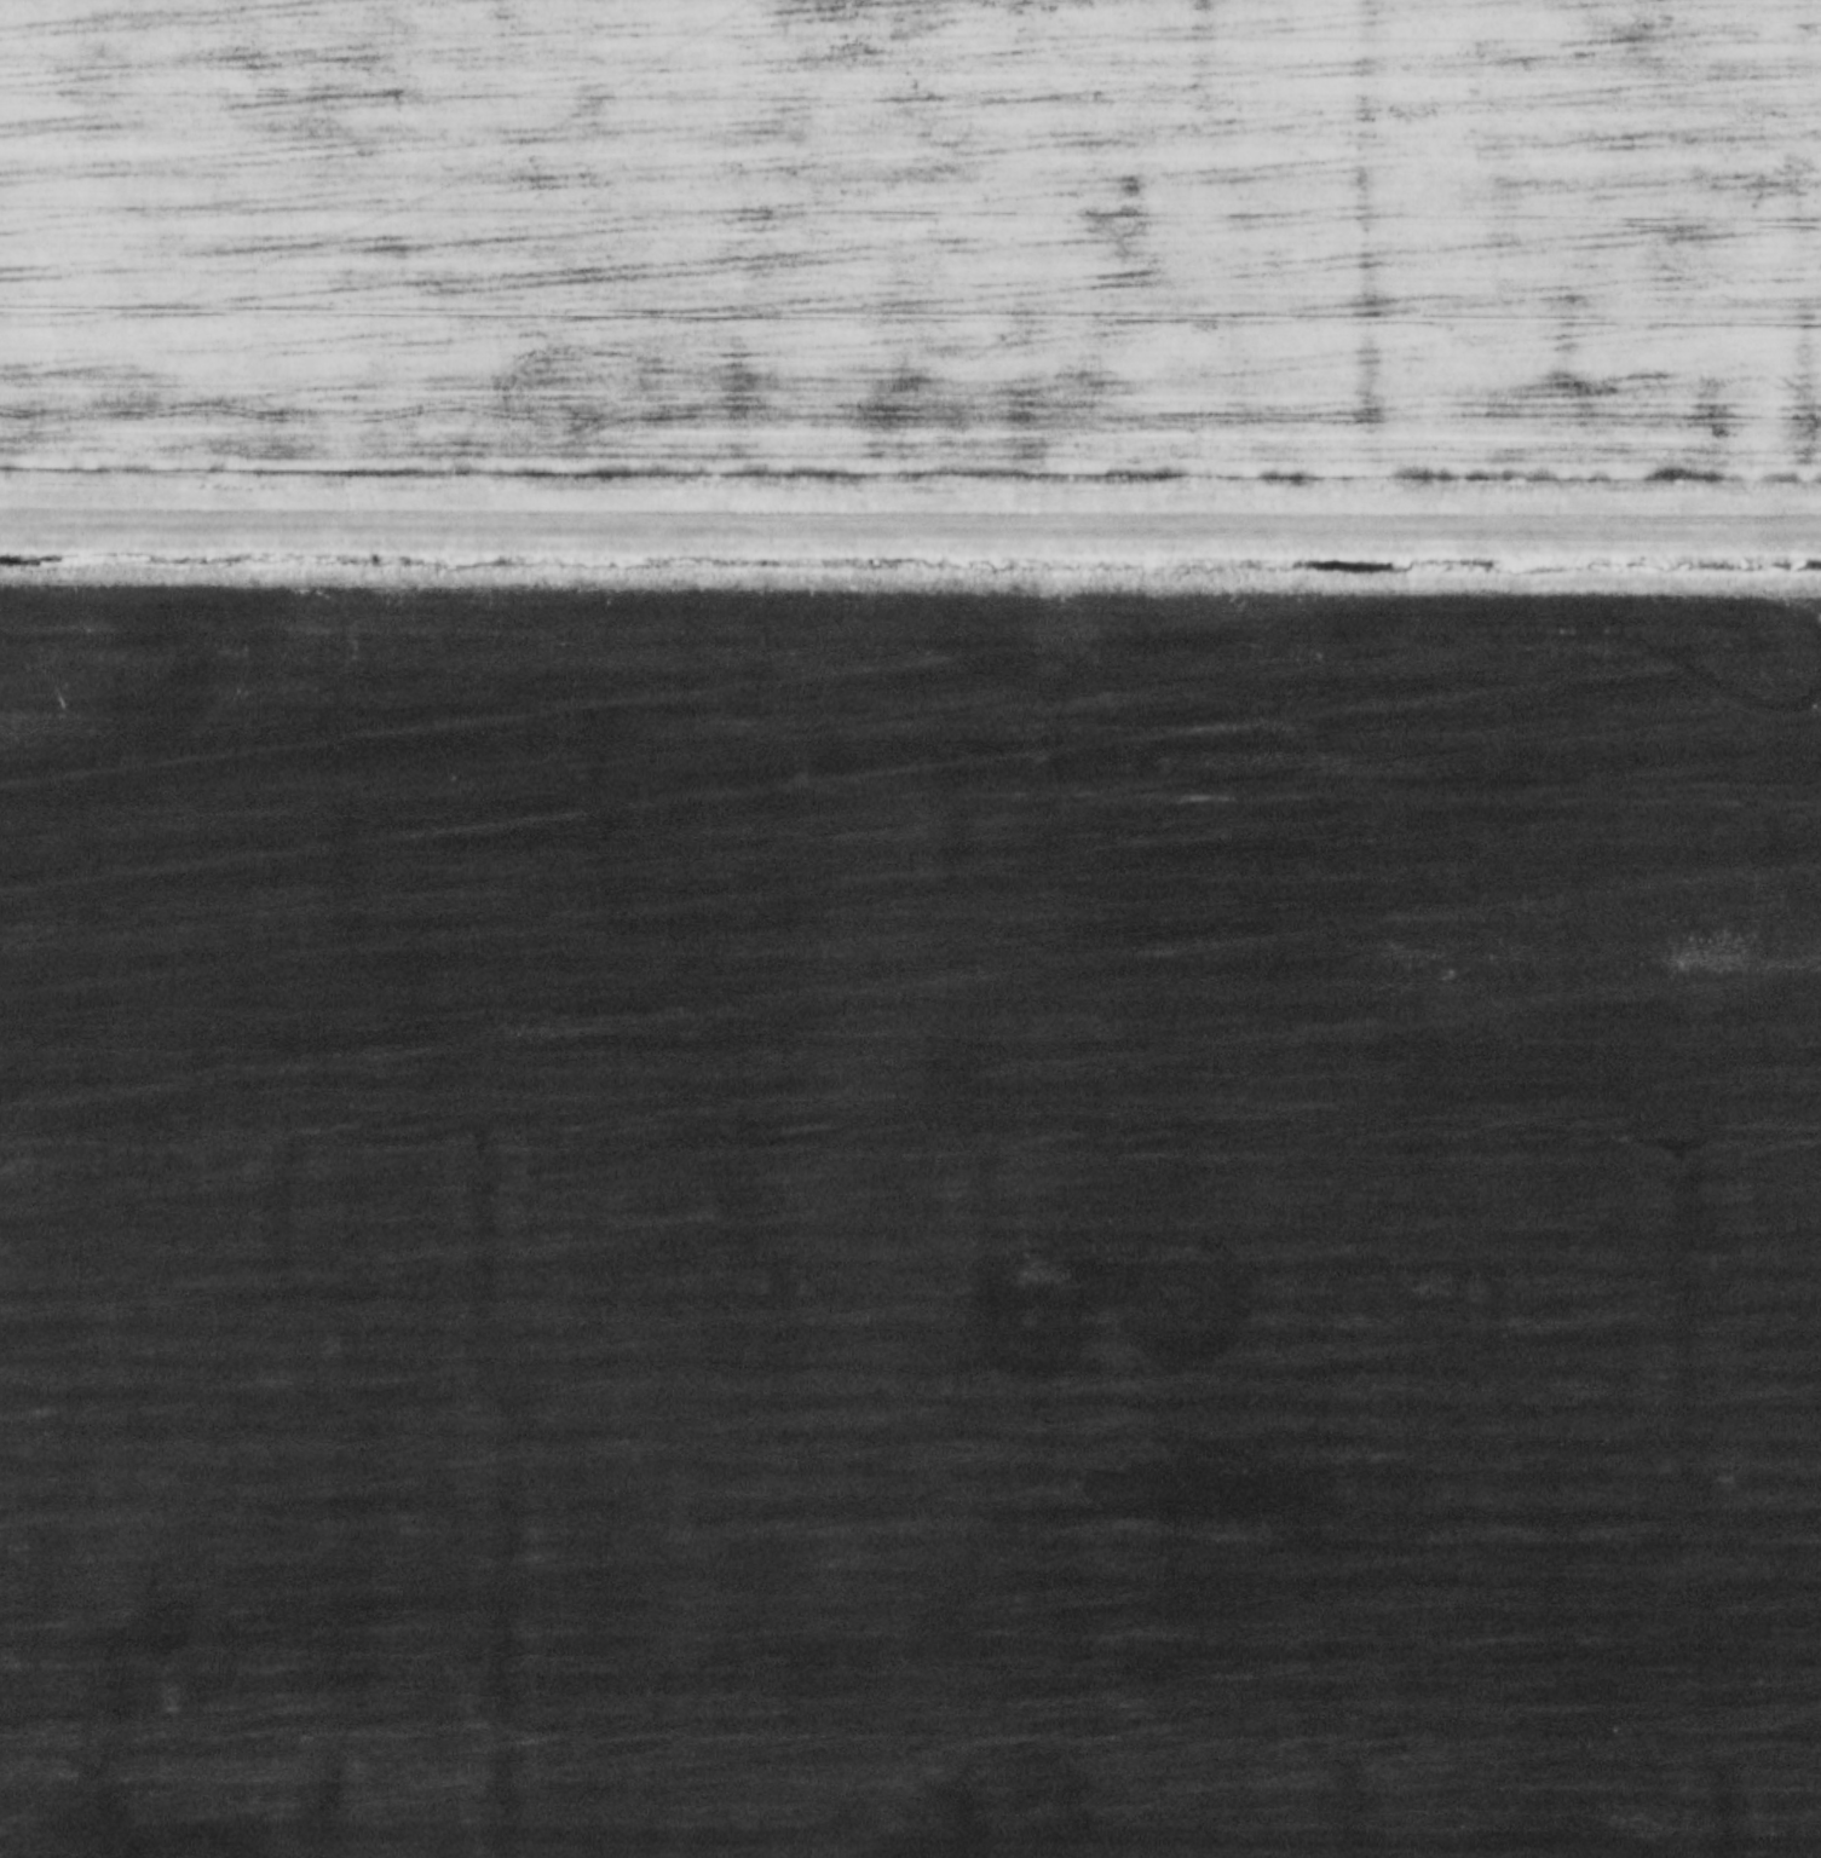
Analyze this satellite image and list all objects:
crop: (914, 235)
road: (910, 513)
crop: (910, 1227)

